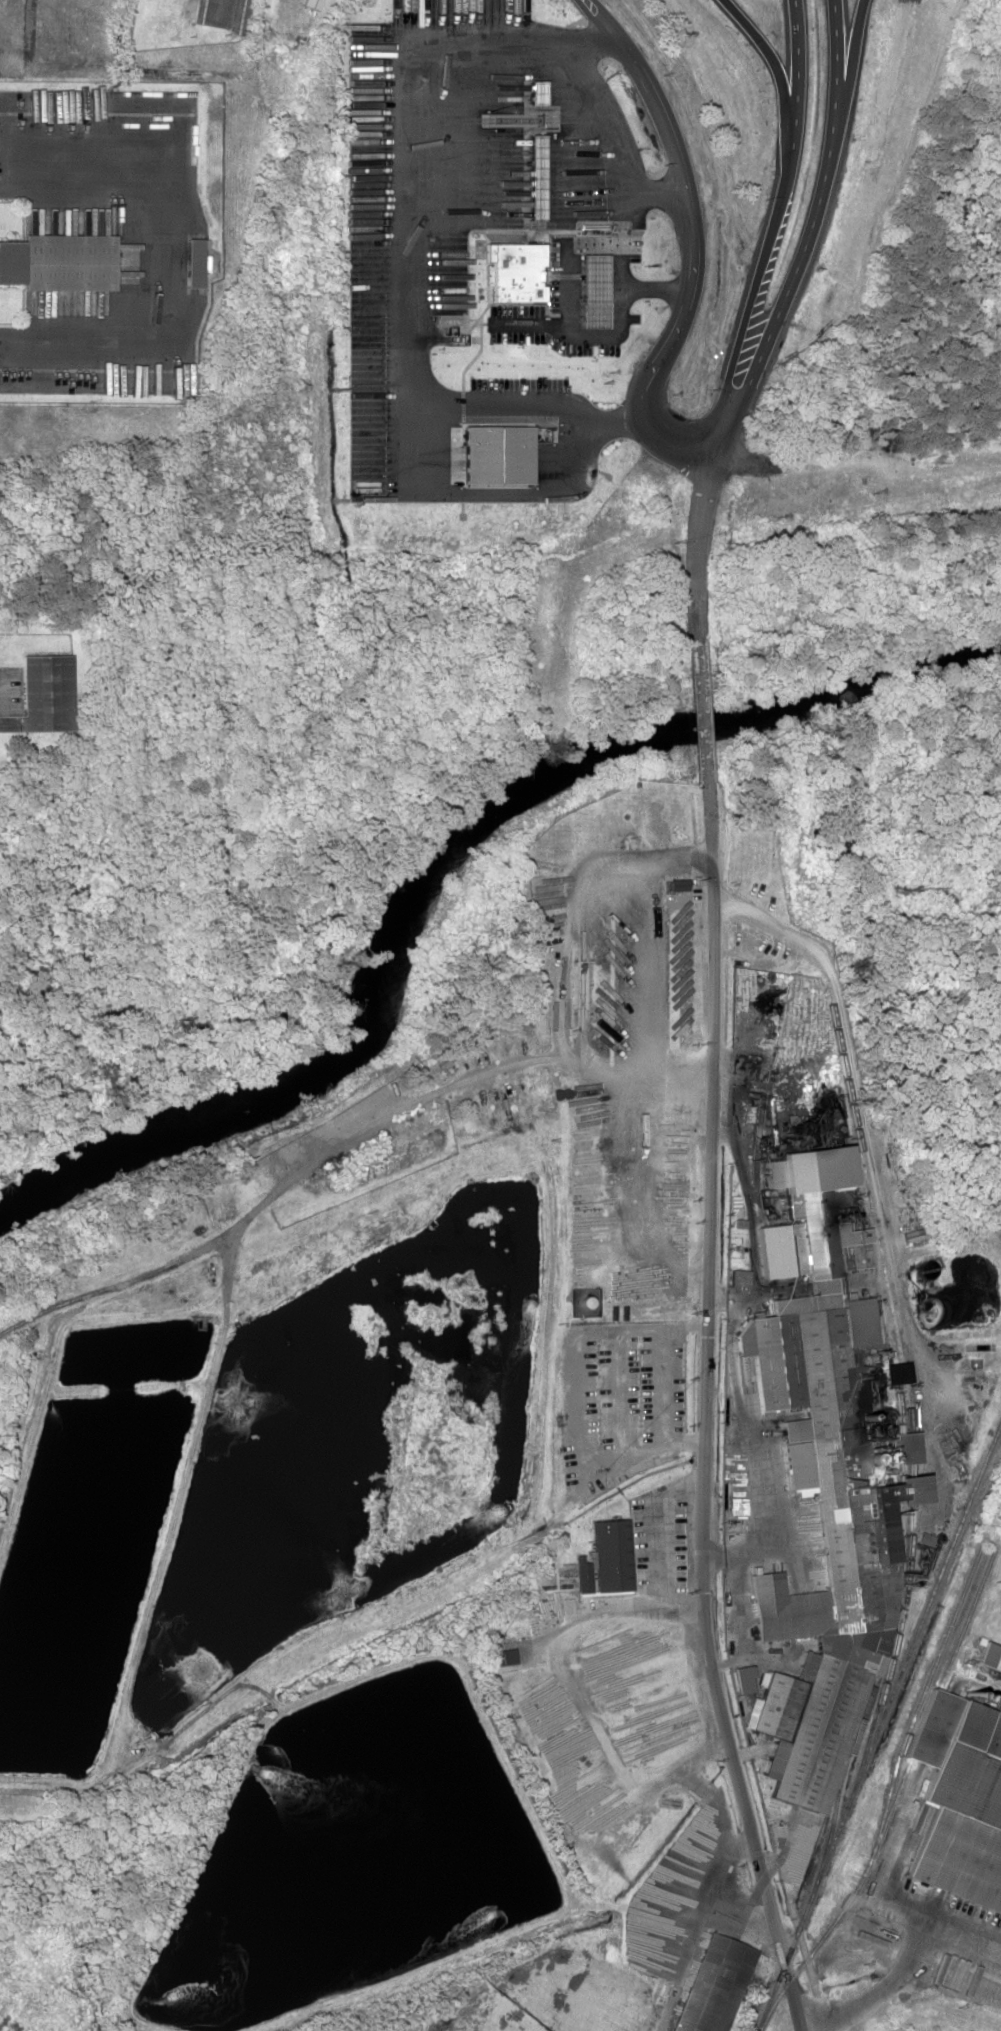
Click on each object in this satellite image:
building: (311, 4)
building: (215, 12)
building: (245, 16)
road: (591, 38)
road: (769, 55)
road: (833, 56)
road: (847, 56)
road: (794, 91)
road: (413, 111)
road: (617, 138)
road: (678, 169)
building: (533, 177)
gas station: (533, 177)
road: (520, 191)
road: (816, 197)
road: (592, 242)
building: (191, 261)
building: (58, 262)
building: (515, 271)
gas station: (592, 279)
building: (591, 289)
road: (744, 315)
road: (553, 322)
road: (637, 340)
road: (754, 366)
road: (643, 387)
road: (677, 440)
road: (700, 542)
building: (44, 692)
road: (703, 709)
building: (838, 1171)
building: (803, 1208)
building: (737, 1277)
railway: (881, 1278)
road: (706, 1412)
building: (903, 1445)
building: (820, 1550)
building: (612, 1554)
railway: (937, 1650)
building: (987, 1654)
building: (501, 1656)
railway: (889, 1660)
building: (741, 1678)
railway: (935, 1696)
railway: (881, 1724)
railway: (840, 1775)
railway: (885, 1801)
building: (956, 1801)
railway: (820, 1939)
building: (705, 1983)

